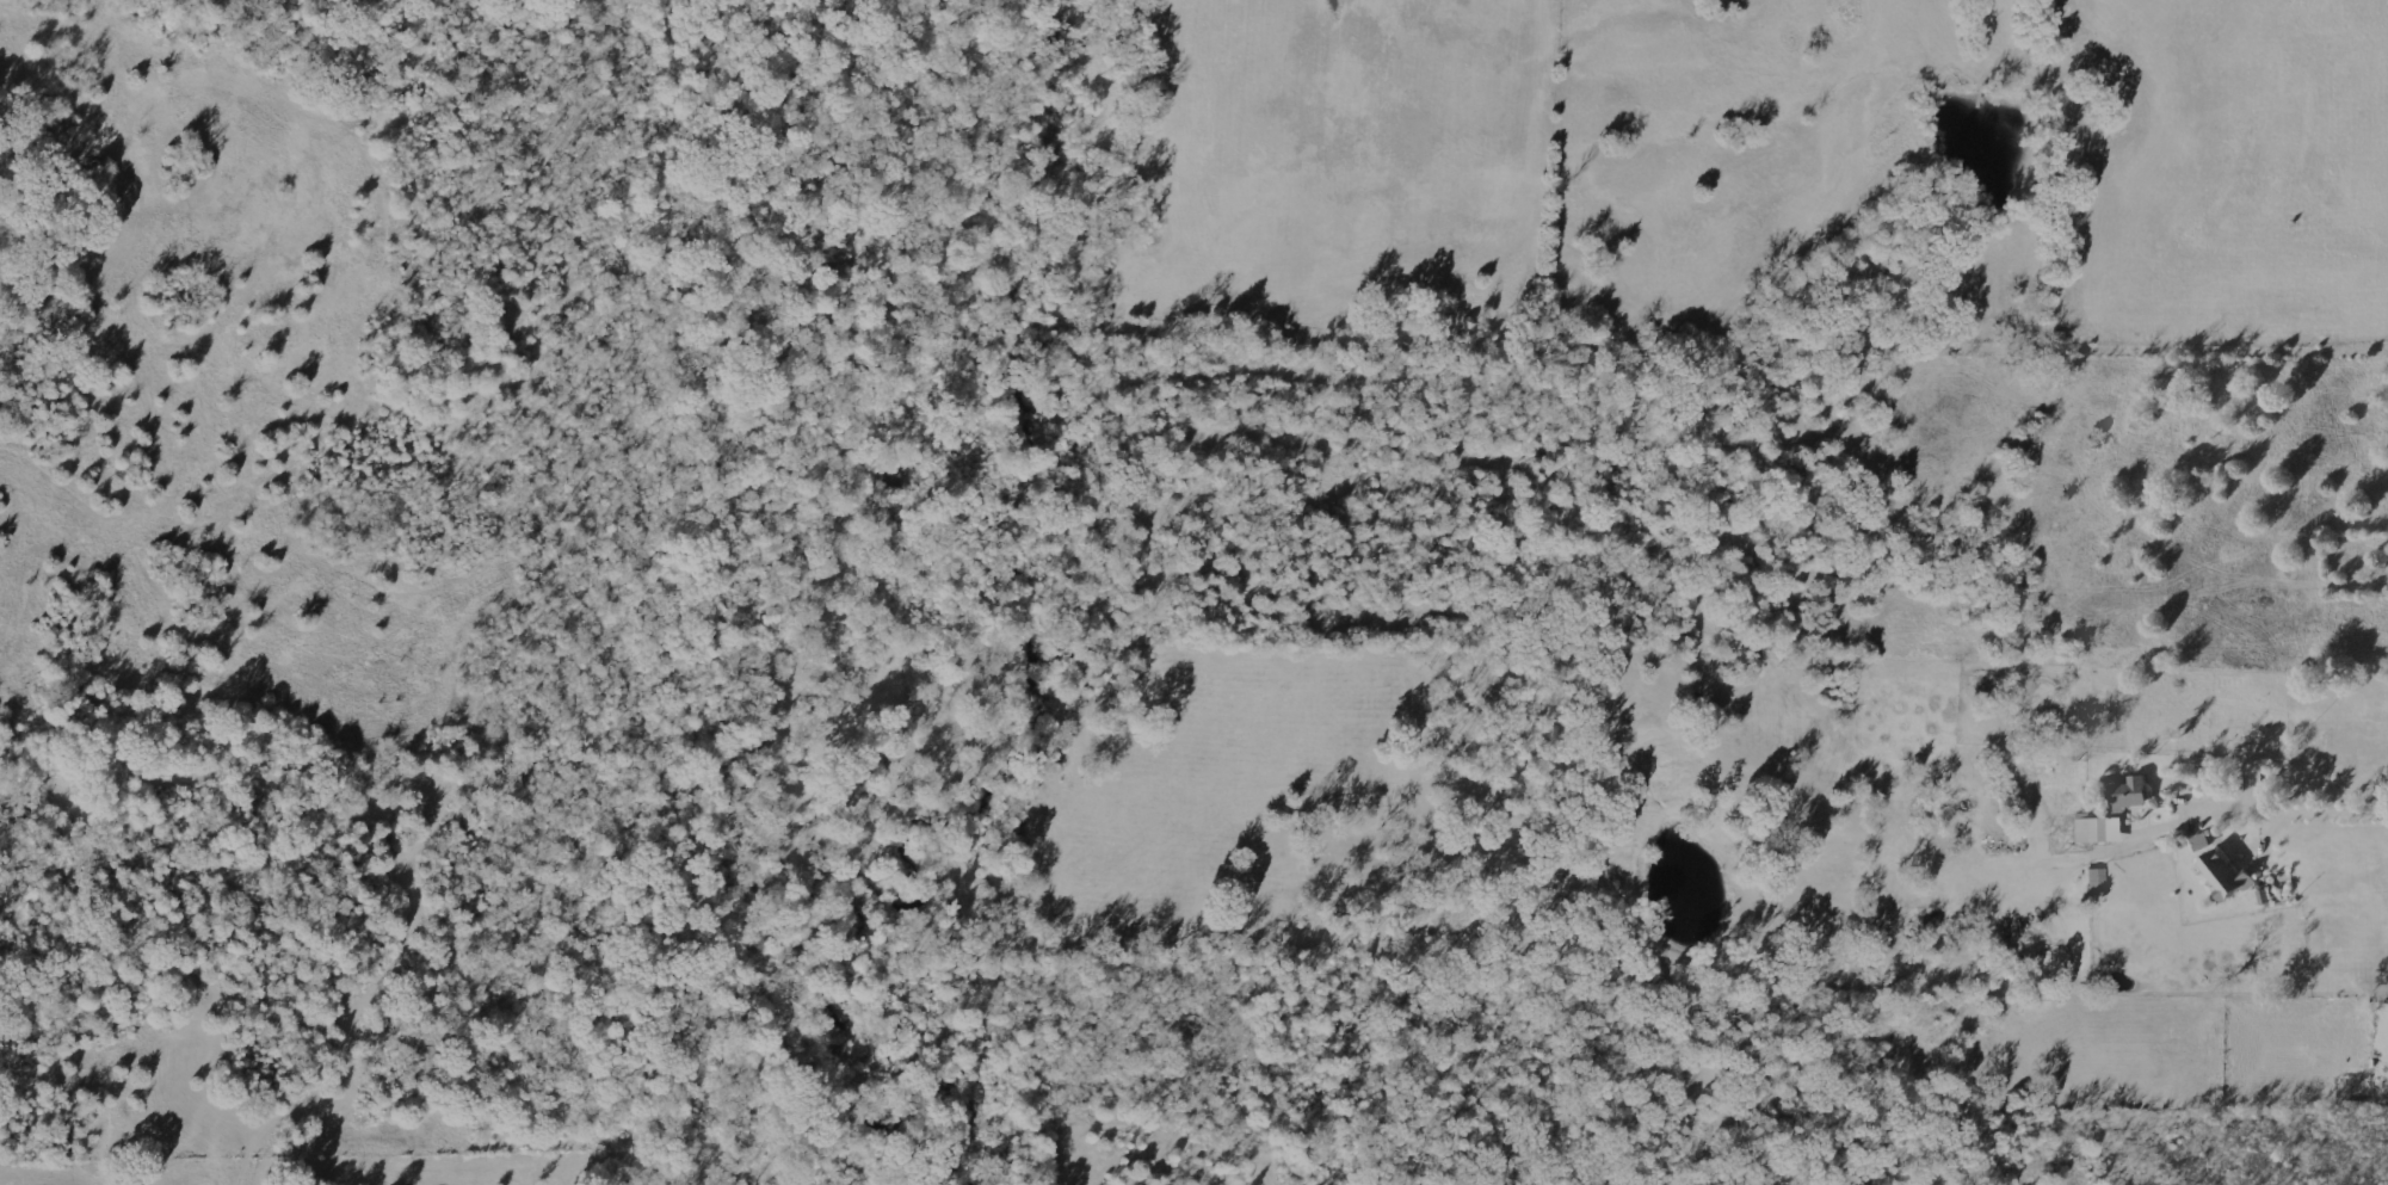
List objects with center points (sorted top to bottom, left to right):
building: (2100, 829)
building: (2203, 845)
building: (2225, 876)
building: (2265, 897)

